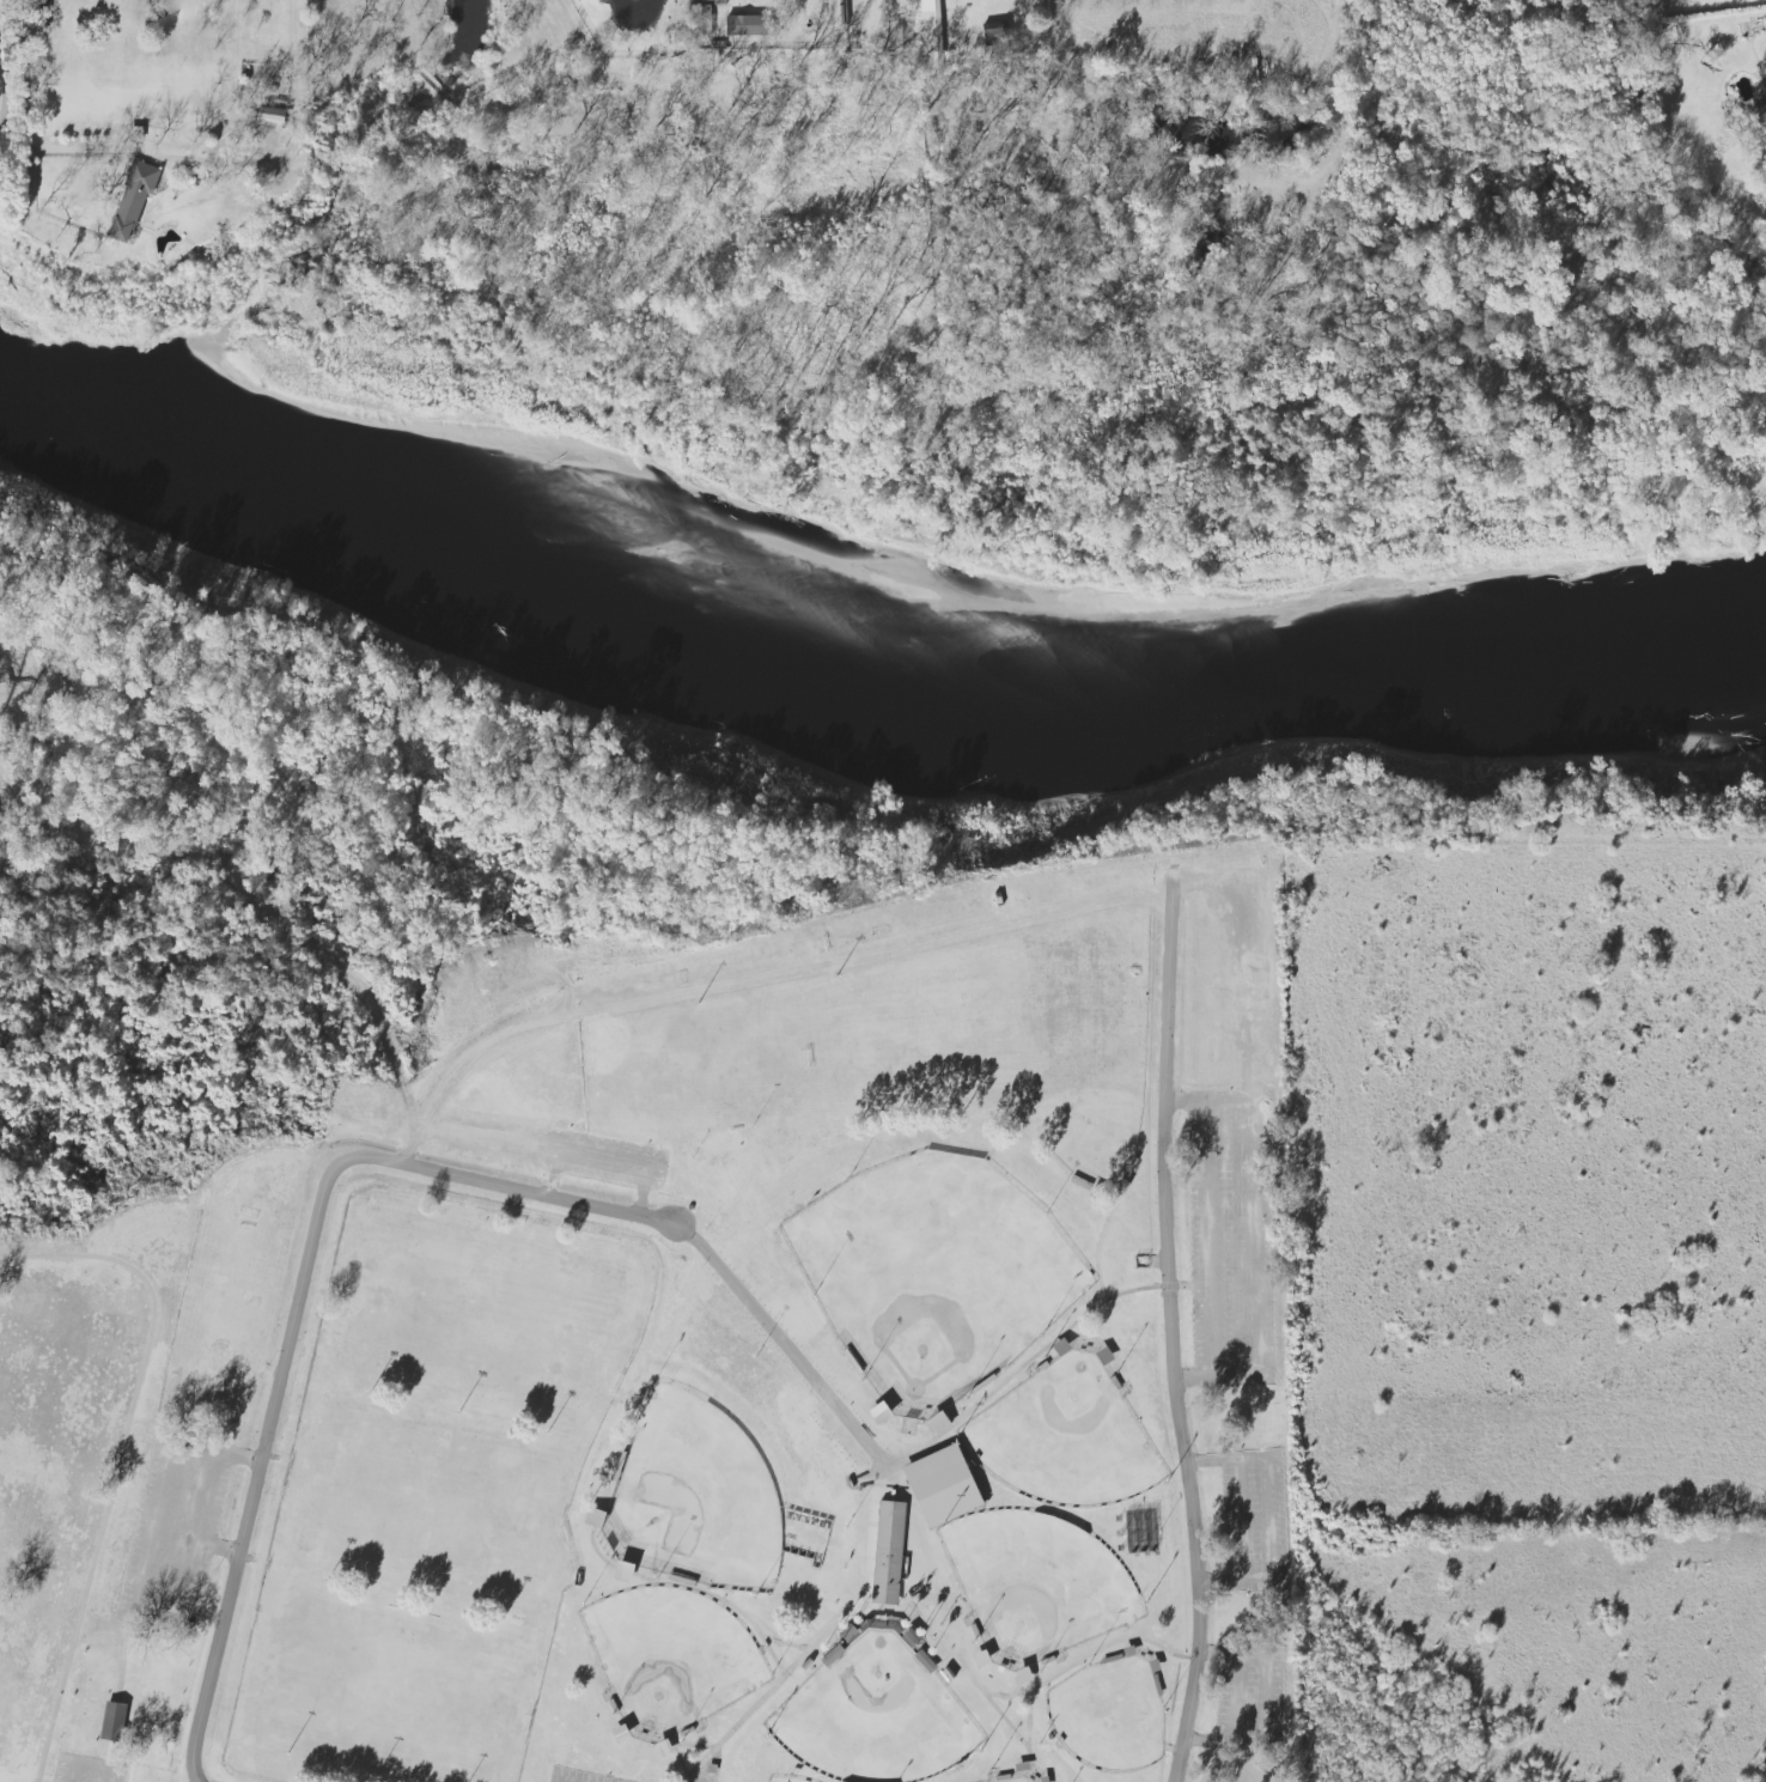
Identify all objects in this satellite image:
park: (1484, 4)
building: (835, 12)
building: (749, 25)
building: (995, 31)
building: (931, 37)
building: (1765, 57)
road: (34, 73)
building: (1764, 78)
road: (5, 92)
building: (1761, 105)
building: (270, 116)
road: (194, 152)
building: (134, 200)
river: (866, 644)
road: (750, 974)
park: (1089, 1006)
park: (988, 1020)
park: (869, 1040)
park: (706, 1064)
park: (1095, 1142)
road: (1255, 1237)
road: (1211, 1239)
road: (1100, 1245)
park: (933, 1276)
road: (297, 1302)
park: (481, 1313)
road: (1055, 1338)
road: (1170, 1342)
road: (784, 1344)
park: (1065, 1439)
road: (218, 1450)
road: (121, 1456)
road: (889, 1467)
park: (727, 1479)
building: (943, 1486)
park: (434, 1502)
road: (1242, 1519)
road: (1267, 1520)
road: (873, 1522)
road: (217, 1549)
building: (888, 1552)
building: (623, 1571)
park: (1035, 1583)
road: (693, 1588)
road: (869, 1599)
road: (863, 1613)
road: (157, 1614)
road: (118, 1625)
road: (87, 1632)
road: (788, 1644)
building: (833, 1656)
road: (1088, 1656)
park: (670, 1658)
road: (122, 1664)
park: (396, 1693)
road: (1236, 1697)
road: (1263, 1704)
park: (873, 1716)
park: (1109, 1716)
road: (1029, 1717)
building: (114, 1721)
road: (675, 1744)
road: (91, 1766)
park: (782, 1780)
park: (1017, 1780)

